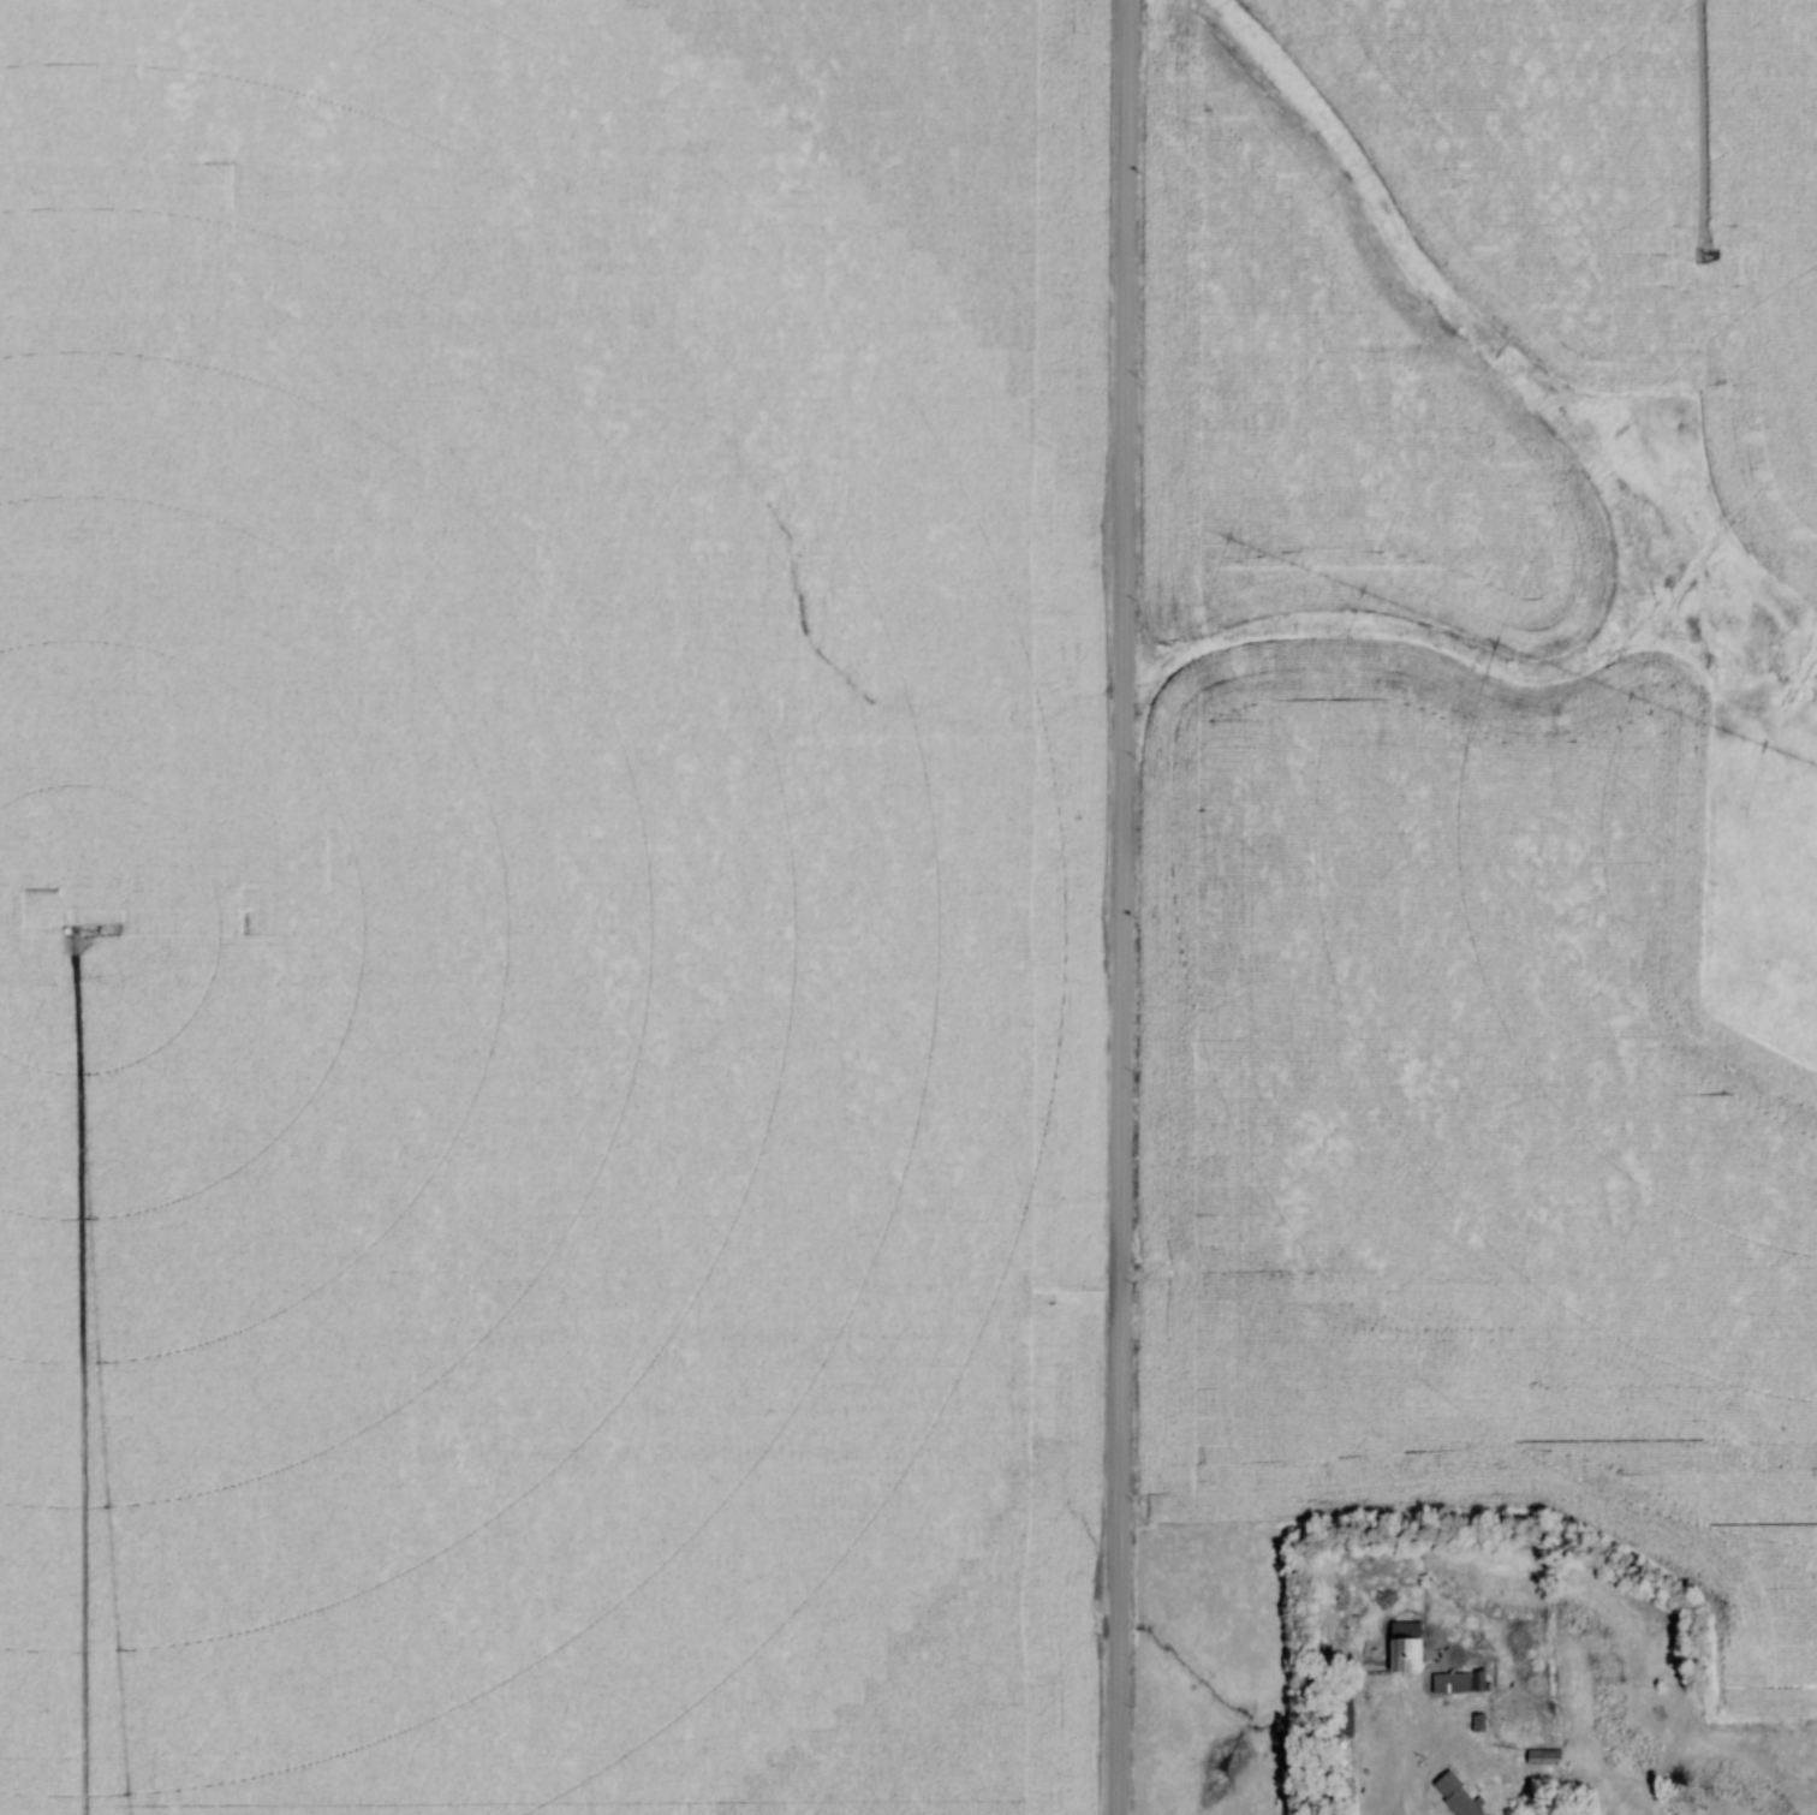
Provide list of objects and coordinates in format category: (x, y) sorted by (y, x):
crop: (543, 906)
road: (1124, 907)
building: (1408, 1646)
building: (1460, 1682)
building: (1346, 1713)
building: (1547, 1756)
building: (1459, 1796)
road: (1411, 1807)

